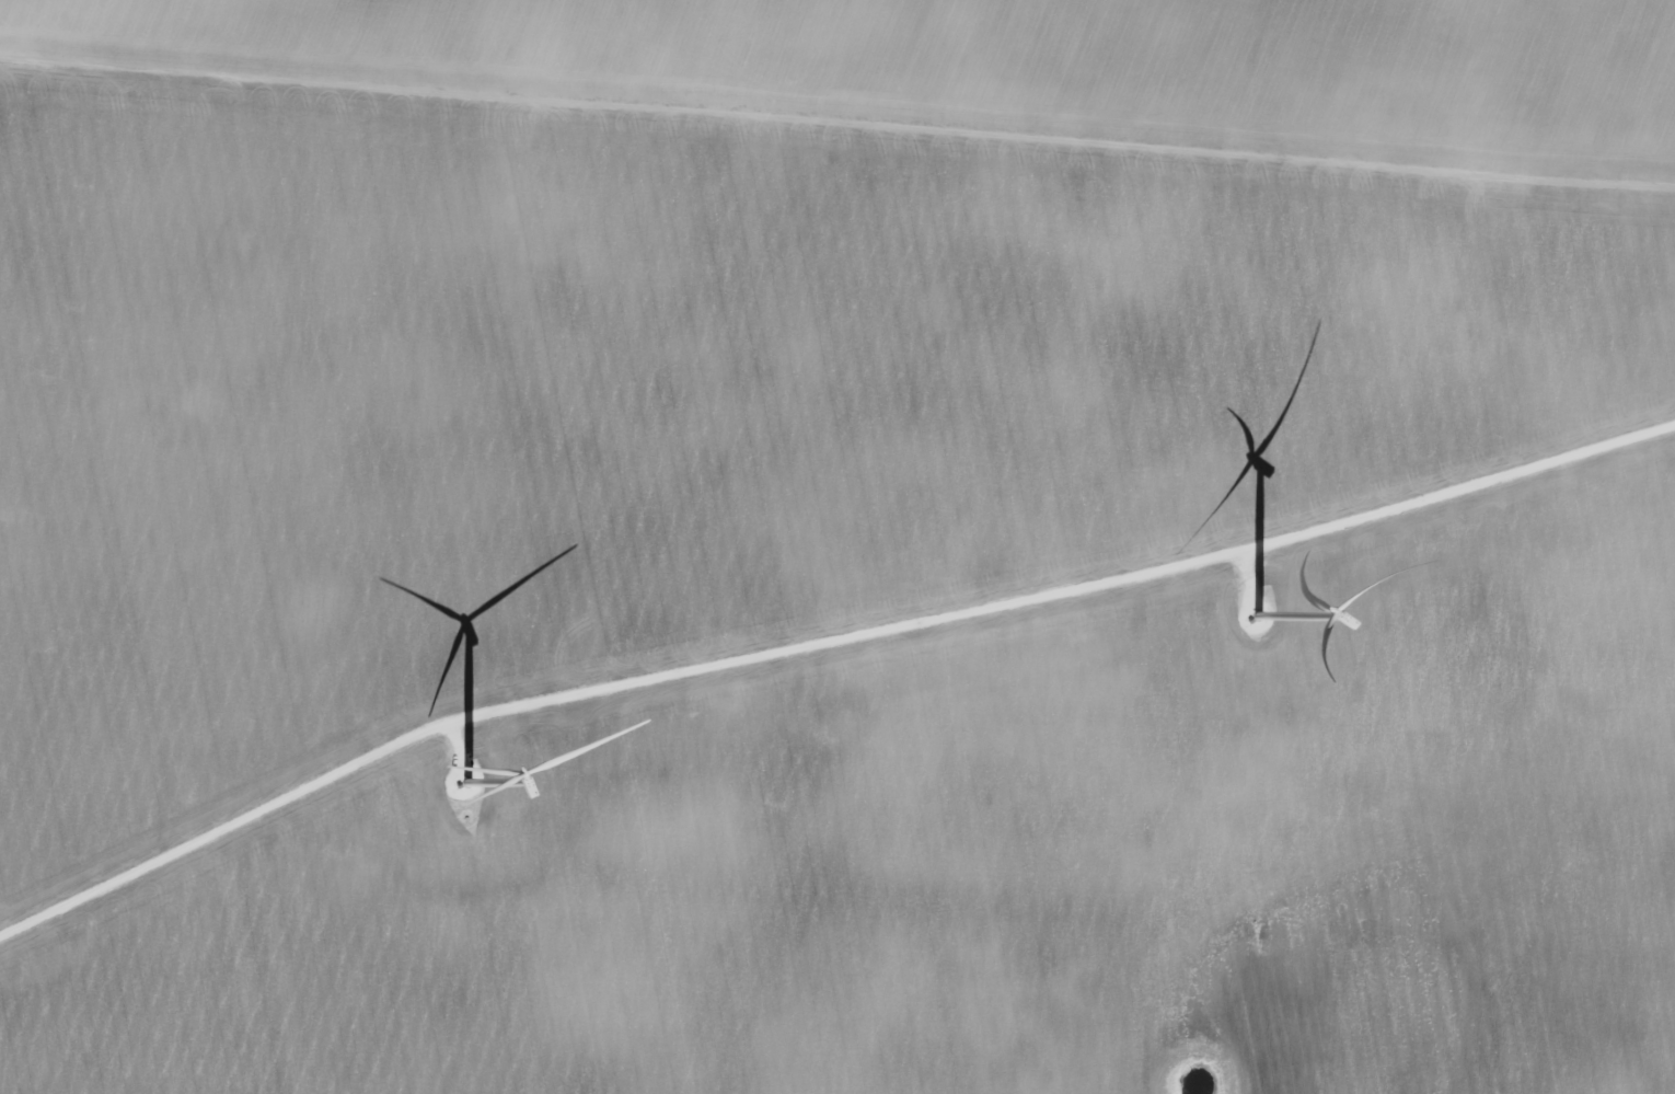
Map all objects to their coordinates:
wind turbine: (1257, 615)
wind turbine: (466, 782)

